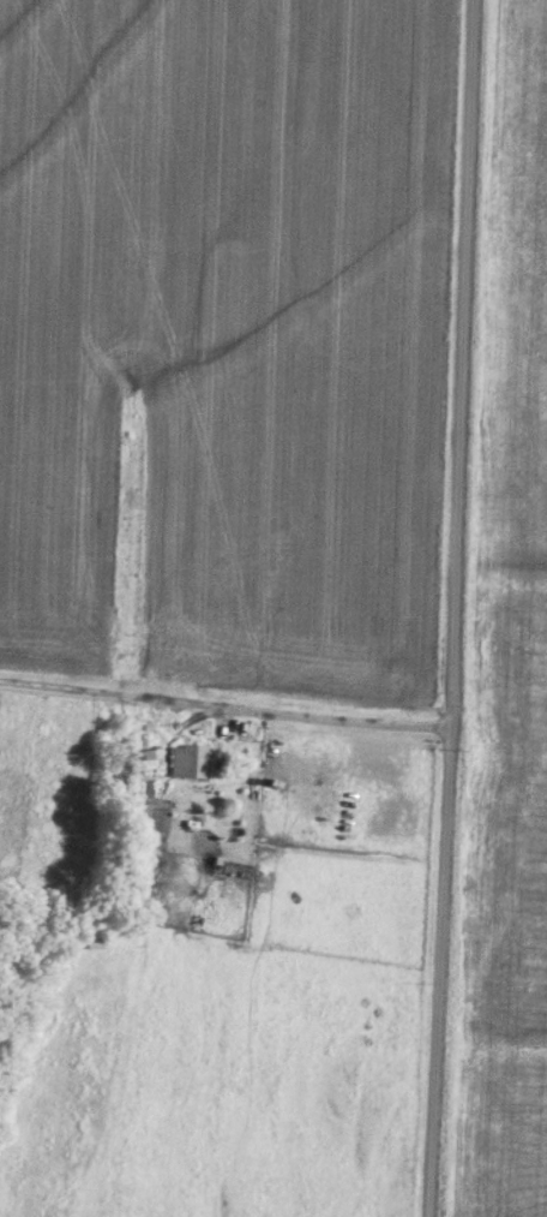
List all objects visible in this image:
road: (457, 608)
road: (226, 702)
building: (187, 758)

